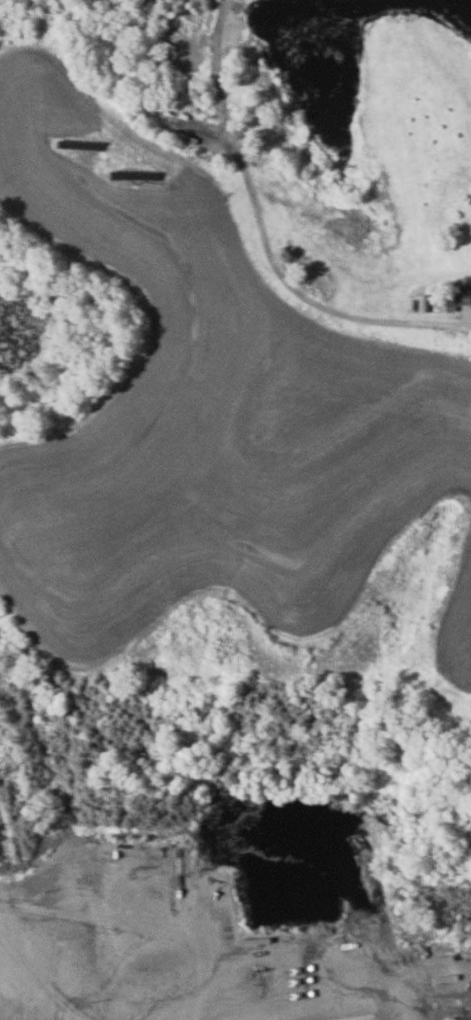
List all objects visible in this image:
building: (458, 296)
building: (41, 298)

